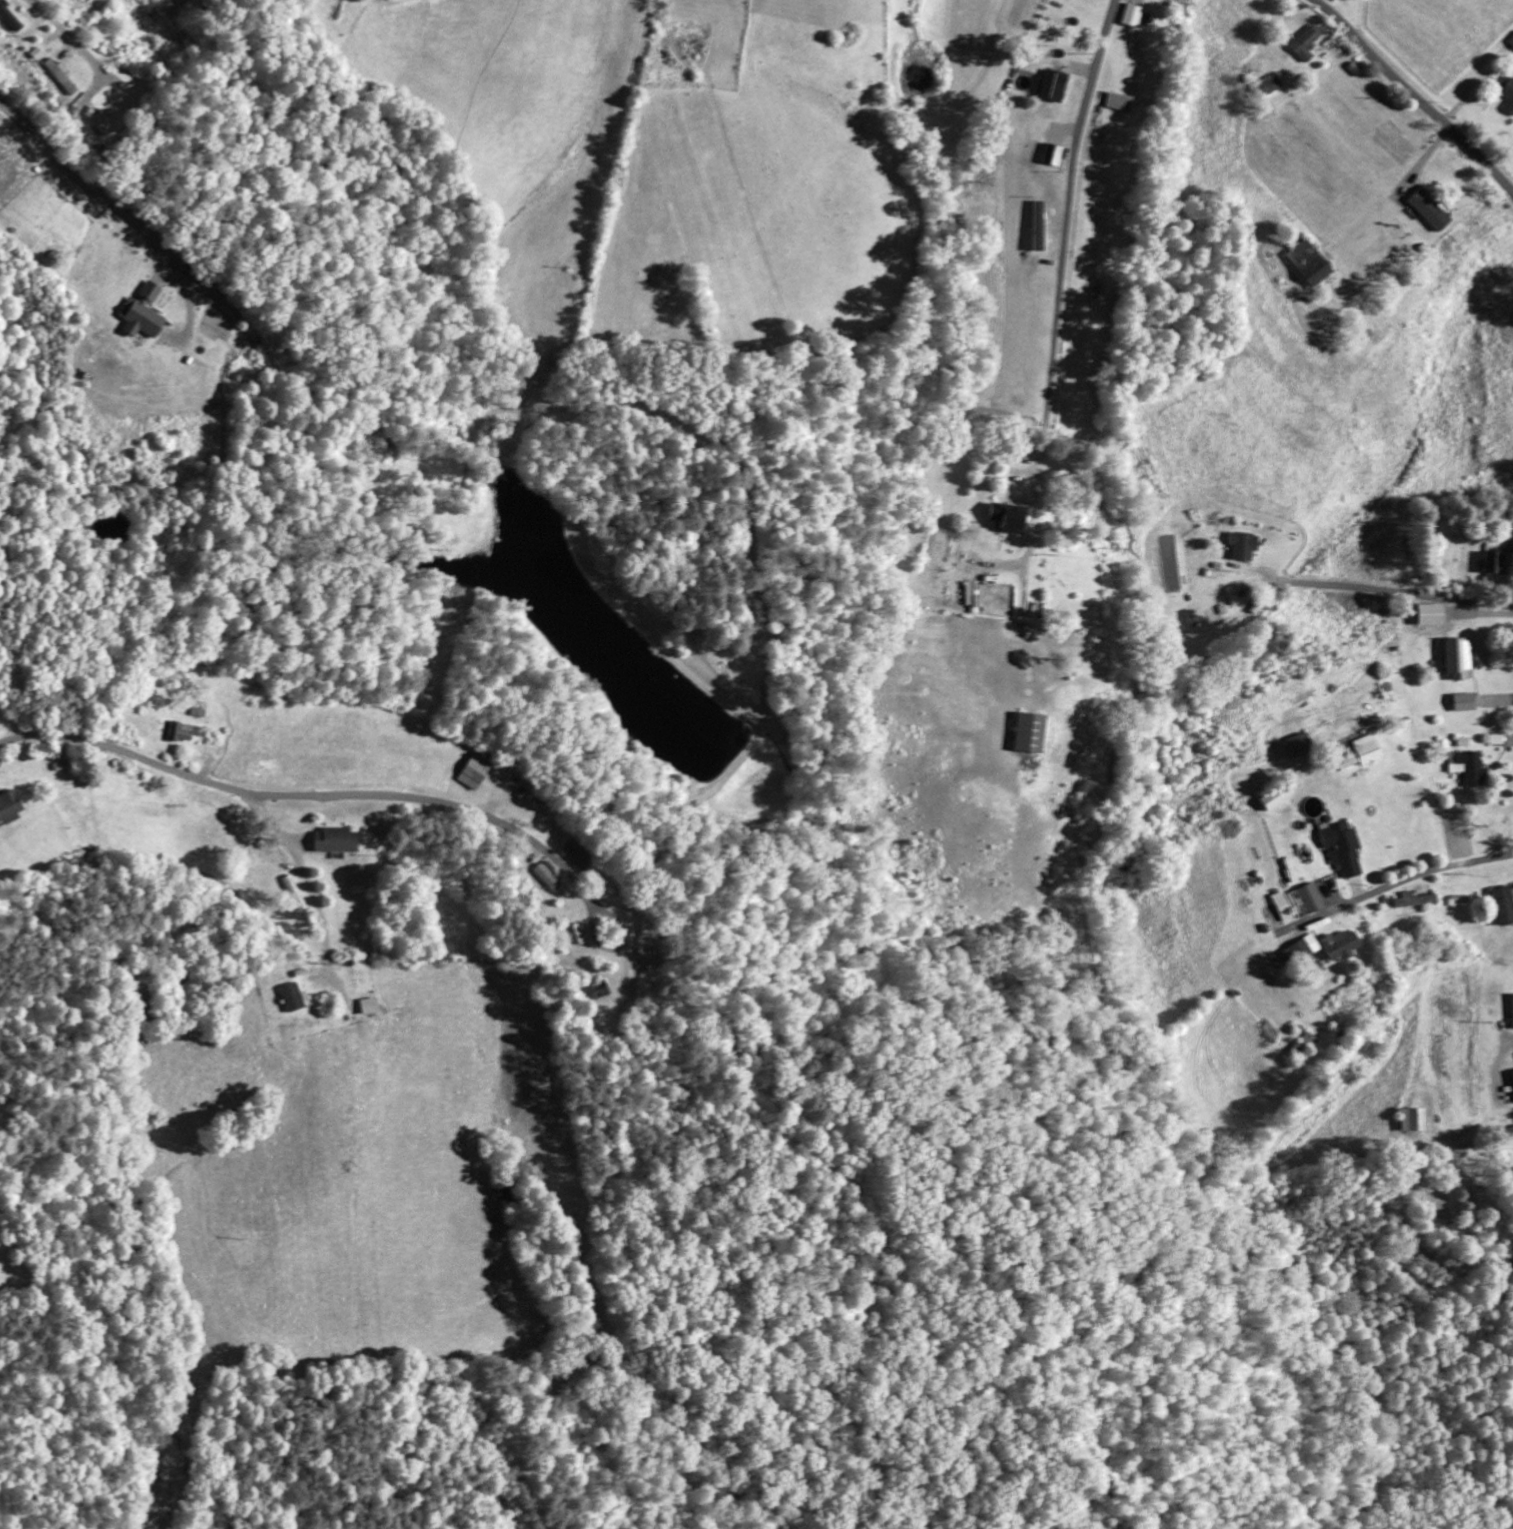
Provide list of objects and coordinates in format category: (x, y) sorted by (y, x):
building: (1130, 14)
building: (9, 17)
building: (1510, 40)
building: (1307, 41)
building: (60, 75)
building: (1269, 84)
building: (1506, 92)
road: (1414, 96)
building: (1117, 101)
building: (1052, 154)
building: (1428, 210)
building: (1308, 262)
road: (1063, 268)
building: (141, 311)
building: (1008, 516)
building: (1241, 543)
building: (1493, 560)
building: (973, 596)
building: (1457, 656)
building: (1464, 701)
building: (181, 730)
building: (1028, 731)
building: (1367, 748)
building: (1346, 760)
building: (1468, 766)
building: (472, 770)
road: (302, 795)
building: (1274, 795)
building: (9, 805)
building: (334, 839)
building: (1340, 847)
road: (1411, 871)
building: (546, 873)
building: (293, 891)
building: (1303, 899)
building: (1413, 899)
building: (1503, 903)
building: (1281, 905)
road: (593, 920)
building: (1337, 944)
building: (1302, 947)
building: (599, 988)
building: (291, 996)
building: (368, 1005)
building: (1512, 1011)
building: (1512, 1070)
building: (1411, 1118)

